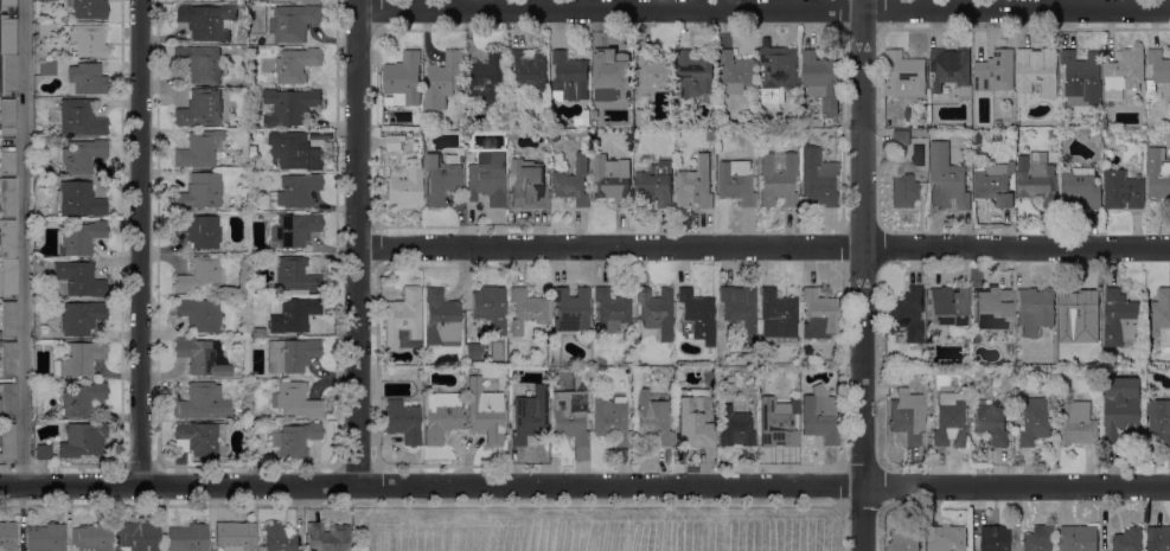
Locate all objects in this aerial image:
building: (52, 0)
building: (185, 0)
building: (281, 0)
building: (311, 0)
building: (242, 1)
road: (705, 4)
road: (825, 4)
building: (6, 5)
road: (460, 5)
road: (539, 5)
road: (582, 5)
road: (747, 5)
road: (788, 5)
road: (960, 5)
road: (1003, 5)
road: (1044, 6)
road: (1088, 6)
building: (88, 8)
road: (763, 9)
building: (206, 21)
building: (293, 21)
road: (601, 27)
road: (725, 27)
road: (421, 28)
road: (518, 28)
road: (936, 28)
road: (560, 30)
building: (46, 31)
road: (982, 33)
building: (7, 36)
road: (1110, 37)
road: (427, 38)
road: (330, 39)
road: (468, 39)
building: (88, 40)
road: (574, 46)
road: (377, 55)
building: (200, 64)
building: (295, 64)
building: (950, 68)
building: (1157, 68)
building: (47, 69)
building: (528, 69)
building: (653, 70)
building: (1036, 70)
building: (610, 71)
building: (735, 71)
building: (776, 72)
building: (904, 72)
building: (995, 72)
building: (1124, 72)
building: (8, 73)
building: (404, 76)
building: (568, 76)
building: (695, 76)
building: (1081, 77)
building: (84, 78)
building: (443, 78)
building: (488, 79)
building: (821, 79)
road: (328, 82)
building: (43, 102)
building: (513, 102)
building: (594, 102)
building: (289, 105)
building: (199, 109)
building: (7, 117)
building: (77, 118)
building: (642, 118)
building: (934, 124)
building: (468, 132)
building: (1053, 133)
building: (512, 134)
building: (587, 134)
building: (711, 134)
building: (556, 135)
building: (1097, 135)
building: (682, 136)
building: (901, 136)
building: (974, 137)
building: (394, 141)
building: (198, 149)
building: (294, 150)
building: (82, 156)
building: (7, 158)
building: (1157, 173)
building: (441, 178)
building: (946, 178)
building: (1036, 178)
building: (487, 179)
building: (612, 179)
building: (778, 179)
building: (818, 179)
building: (571, 180)
building: (735, 181)
building: (656, 182)
building: (695, 182)
building: (995, 182)
building: (405, 185)
building: (528, 185)
building: (1080, 186)
building: (295, 190)
building: (902, 190)
building: (1121, 191)
building: (200, 192)
building: (7, 198)
building: (78, 200)
road: (315, 201)
road: (339, 207)
road: (318, 209)
road: (567, 209)
road: (696, 209)
building: (1093, 218)
road: (704, 226)
road: (538, 228)
building: (294, 229)
road: (622, 229)
road: (665, 229)
building: (38, 230)
building: (198, 230)
road: (578, 230)
building: (82, 238)
building: (6, 239)
road: (141, 242)
road: (357, 242)
road: (25, 243)
road: (177, 244)
road: (763, 246)
road: (154, 254)
building: (238, 260)
road: (178, 262)
building: (199, 275)
building: (295, 275)
road: (861, 275)
building: (8, 277)
building: (79, 280)
building: (739, 303)
building: (1079, 303)
building: (490, 308)
building: (946, 308)
building: (570, 309)
building: (991, 309)
building: (526, 310)
building: (612, 310)
building: (1034, 310)
building: (656, 312)
building: (199, 314)
building: (907, 314)
building: (294, 315)
building: (697, 315)
building: (778, 315)
building: (819, 315)
building: (1159, 315)
building: (1119, 316)
building: (81, 318)
building: (7, 320)
building: (402, 320)
building: (440, 320)
road: (167, 333)
building: (966, 338)
building: (43, 342)
building: (472, 352)
building: (290, 355)
building: (202, 358)
building: (8, 359)
building: (79, 359)
building: (627, 364)
building: (967, 364)
building: (965, 370)
building: (1080, 371)
building: (461, 372)
building: (586, 372)
building: (594, 372)
building: (914, 372)
road: (174, 373)
road: (148, 379)
road: (174, 385)
building: (7, 398)
building: (81, 399)
building: (294, 401)
building: (202, 403)
building: (237, 411)
building: (484, 411)
building: (1123, 411)
building: (441, 416)
building: (530, 416)
building: (819, 416)
building: (906, 416)
building: (651, 417)
building: (610, 418)
building: (570, 419)
building: (1035, 419)
building: (693, 421)
building: (776, 421)
building: (950, 421)
building: (403, 422)
building: (1159, 422)
building: (237, 423)
building: (991, 423)
building: (1076, 423)
building: (734, 428)
building: (198, 438)
building: (82, 440)
building: (294, 440)
building: (7, 442)
building: (43, 453)
road: (247, 466)
road: (584, 485)
road: (616, 504)
road: (174, 505)
building: (139, 536)
building: (235, 536)
building: (7, 537)
building: (92, 537)
building: (327, 537)
building: (45, 538)
building: (187, 538)
building: (279, 538)
building: (947, 538)
building: (1078, 538)
building: (1158, 538)
building: (997, 539)
building: (1040, 539)
building: (1129, 539)
building: (903, 540)

